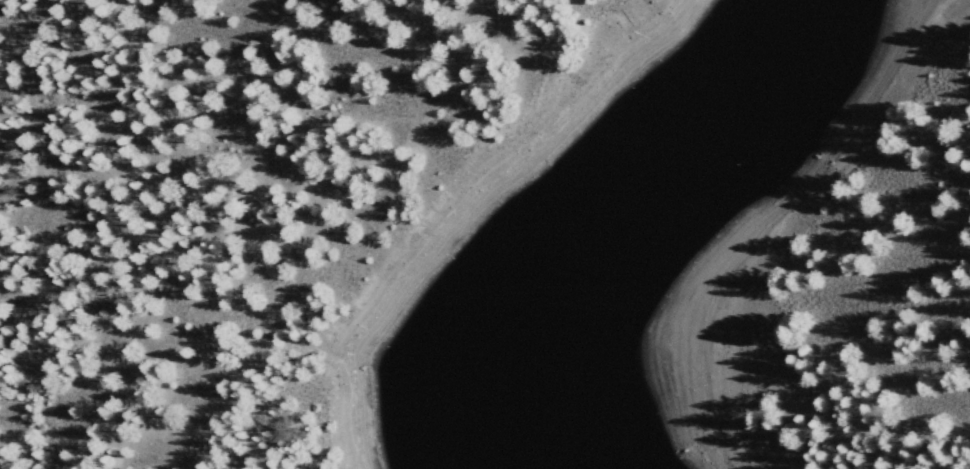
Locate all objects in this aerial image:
road: (320, 196)
road: (809, 415)

